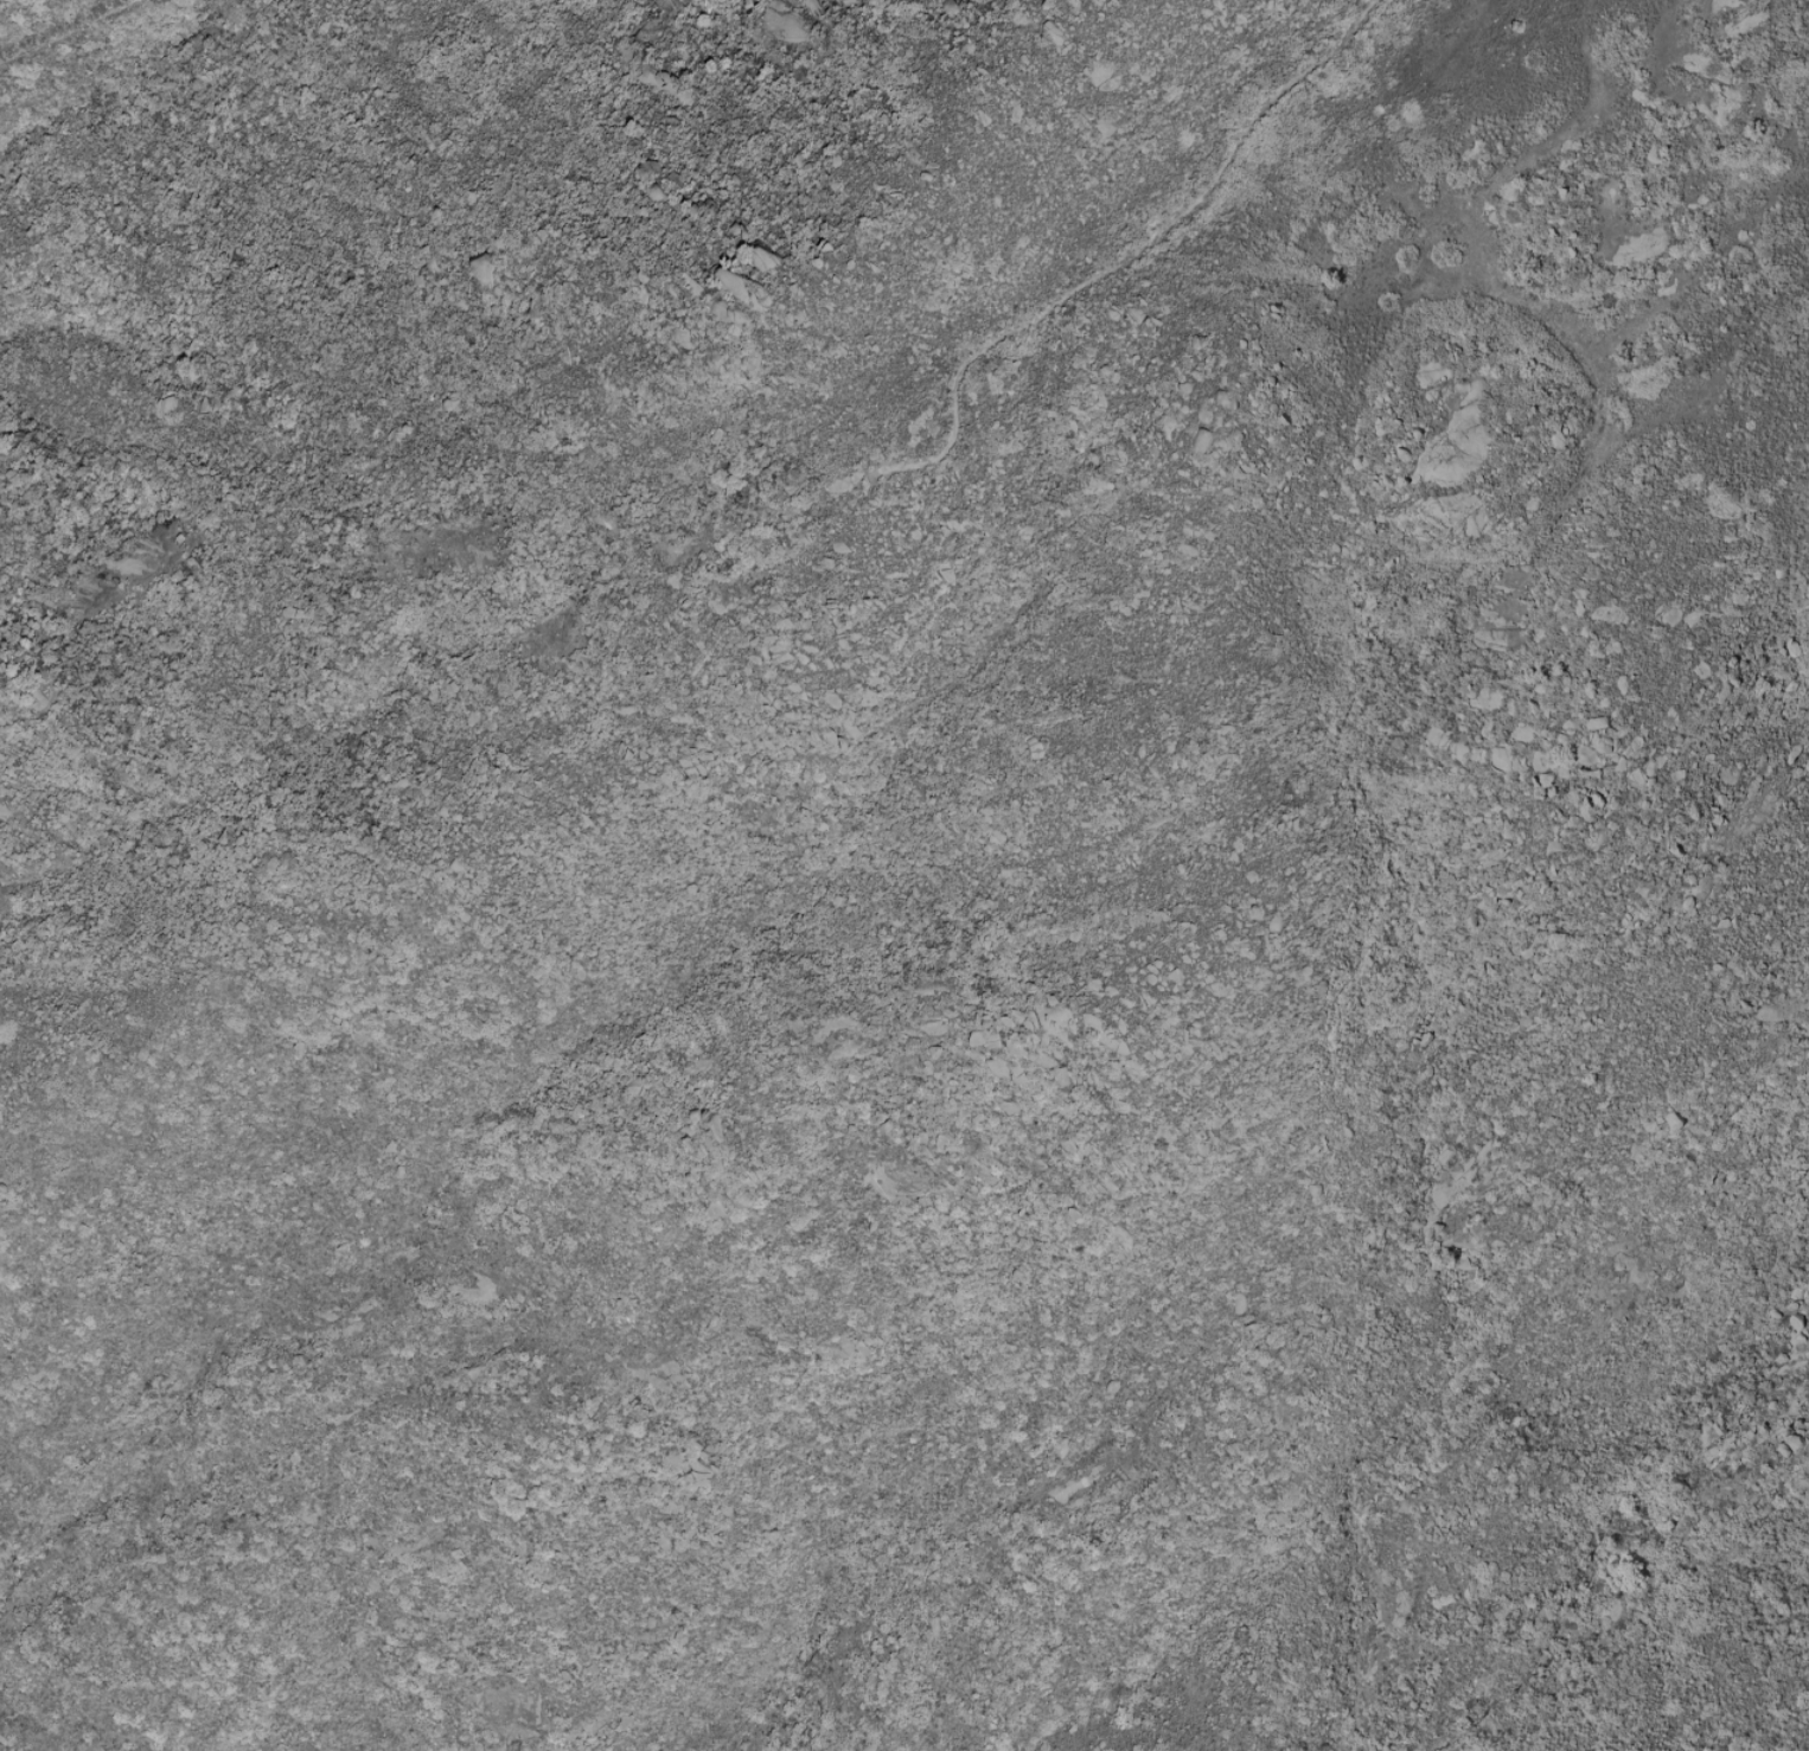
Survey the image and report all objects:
road: (59, 26)

